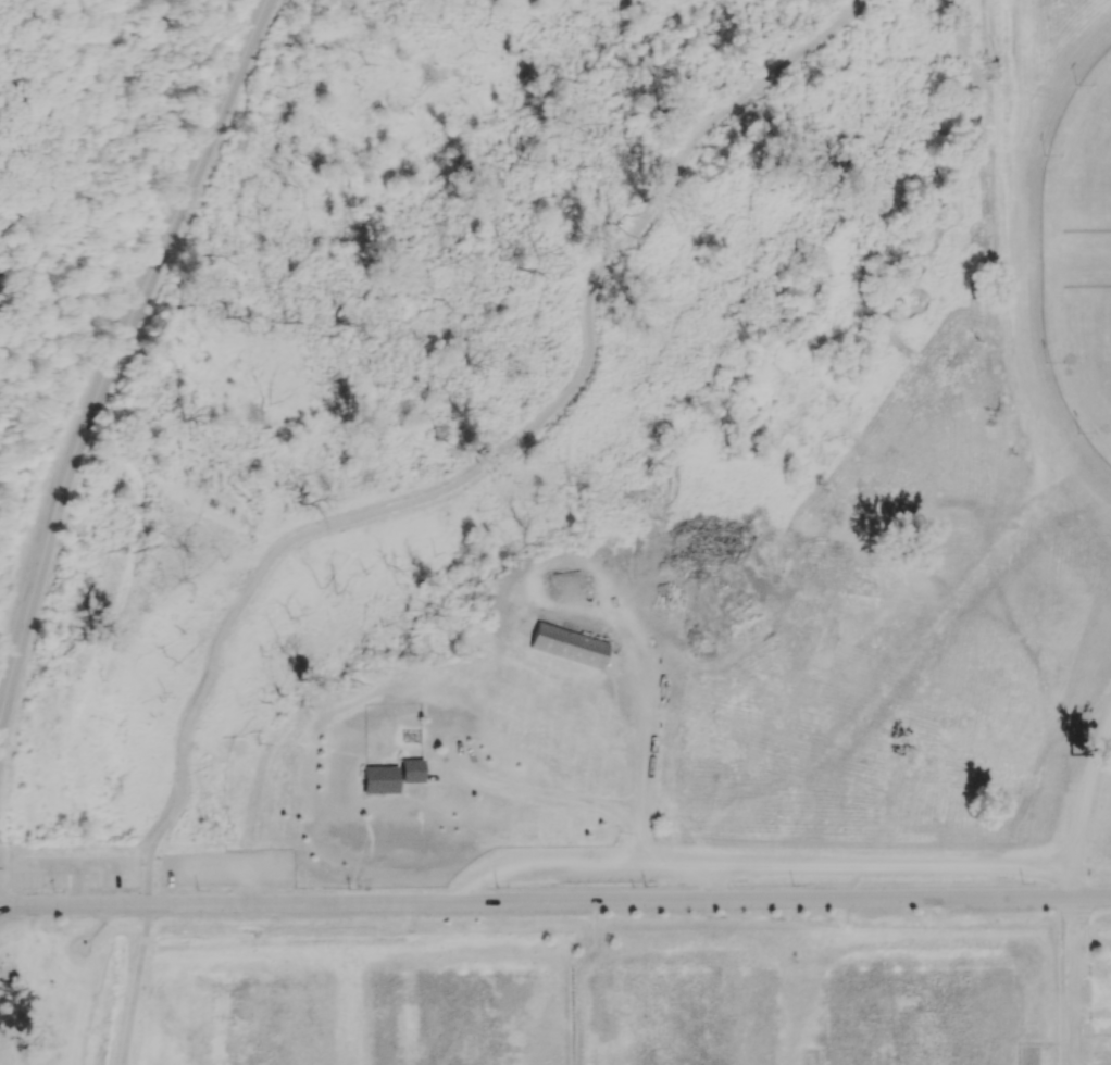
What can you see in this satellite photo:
park: (1081, 160)
park: (84, 206)
park: (1081, 360)
road: (116, 361)
road: (486, 464)
park: (598, 559)
building: (566, 647)
road: (640, 700)
building: (409, 770)
building: (377, 780)
road: (1084, 788)
road: (538, 802)
road: (1015, 816)
road: (425, 827)
road: (587, 864)
road: (78, 865)
road: (145, 865)
parking lot: (557, 866)
road: (851, 867)
road: (1029, 868)
road: (183, 870)
road: (358, 870)
road: (217, 872)
parking lot: (76, 874)
road: (1071, 884)
road: (712, 885)
road: (78, 886)
road: (463, 886)
road: (252, 888)
road: (554, 902)
road: (108, 922)
road: (1060, 970)
road: (1091, 970)
road: (571, 978)
road: (1073, 981)
road: (136, 985)
parking lot: (1101, 999)
road: (1091, 1014)
park: (919, 1018)
park: (461, 1022)
park: (682, 1022)
park: (242, 1023)
road: (1027, 1043)
road: (1061, 1054)
road: (821, 1056)
parking lot: (1100, 1057)

